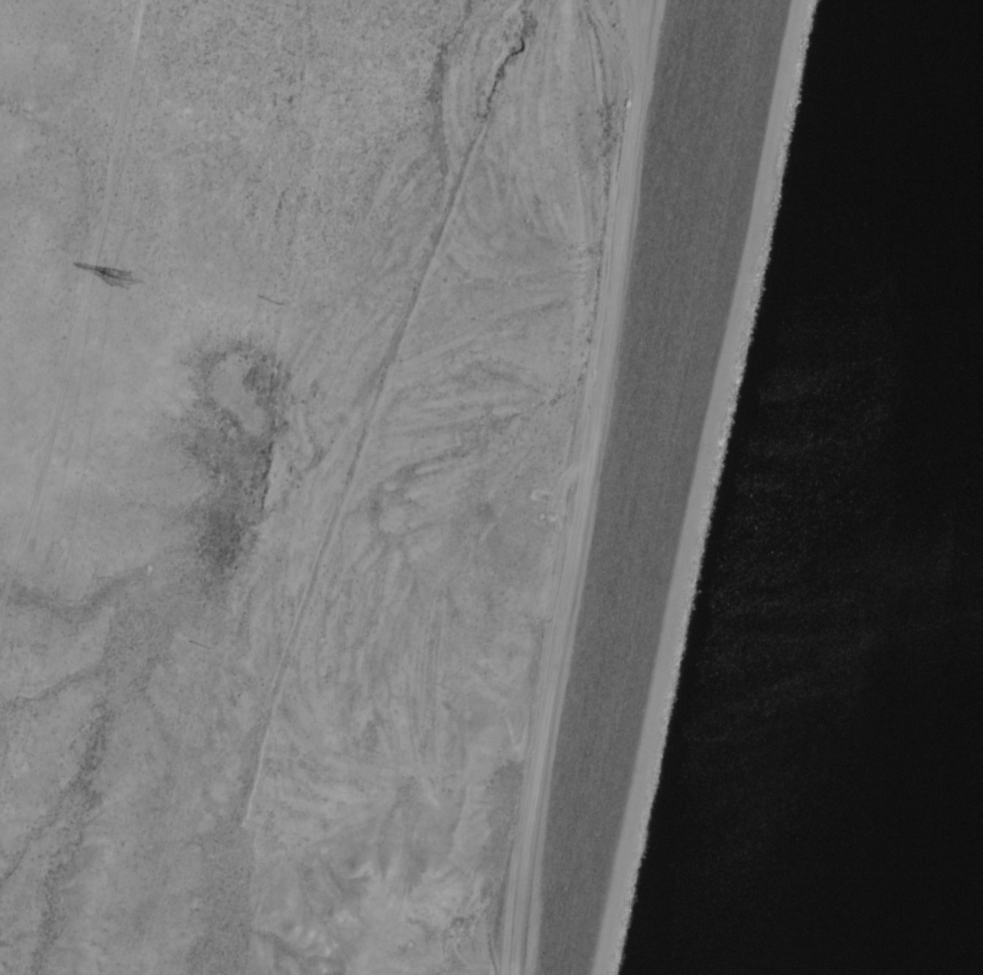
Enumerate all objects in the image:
power tower: (118, 272)
road: (568, 486)
road: (715, 487)
dam: (741, 487)

